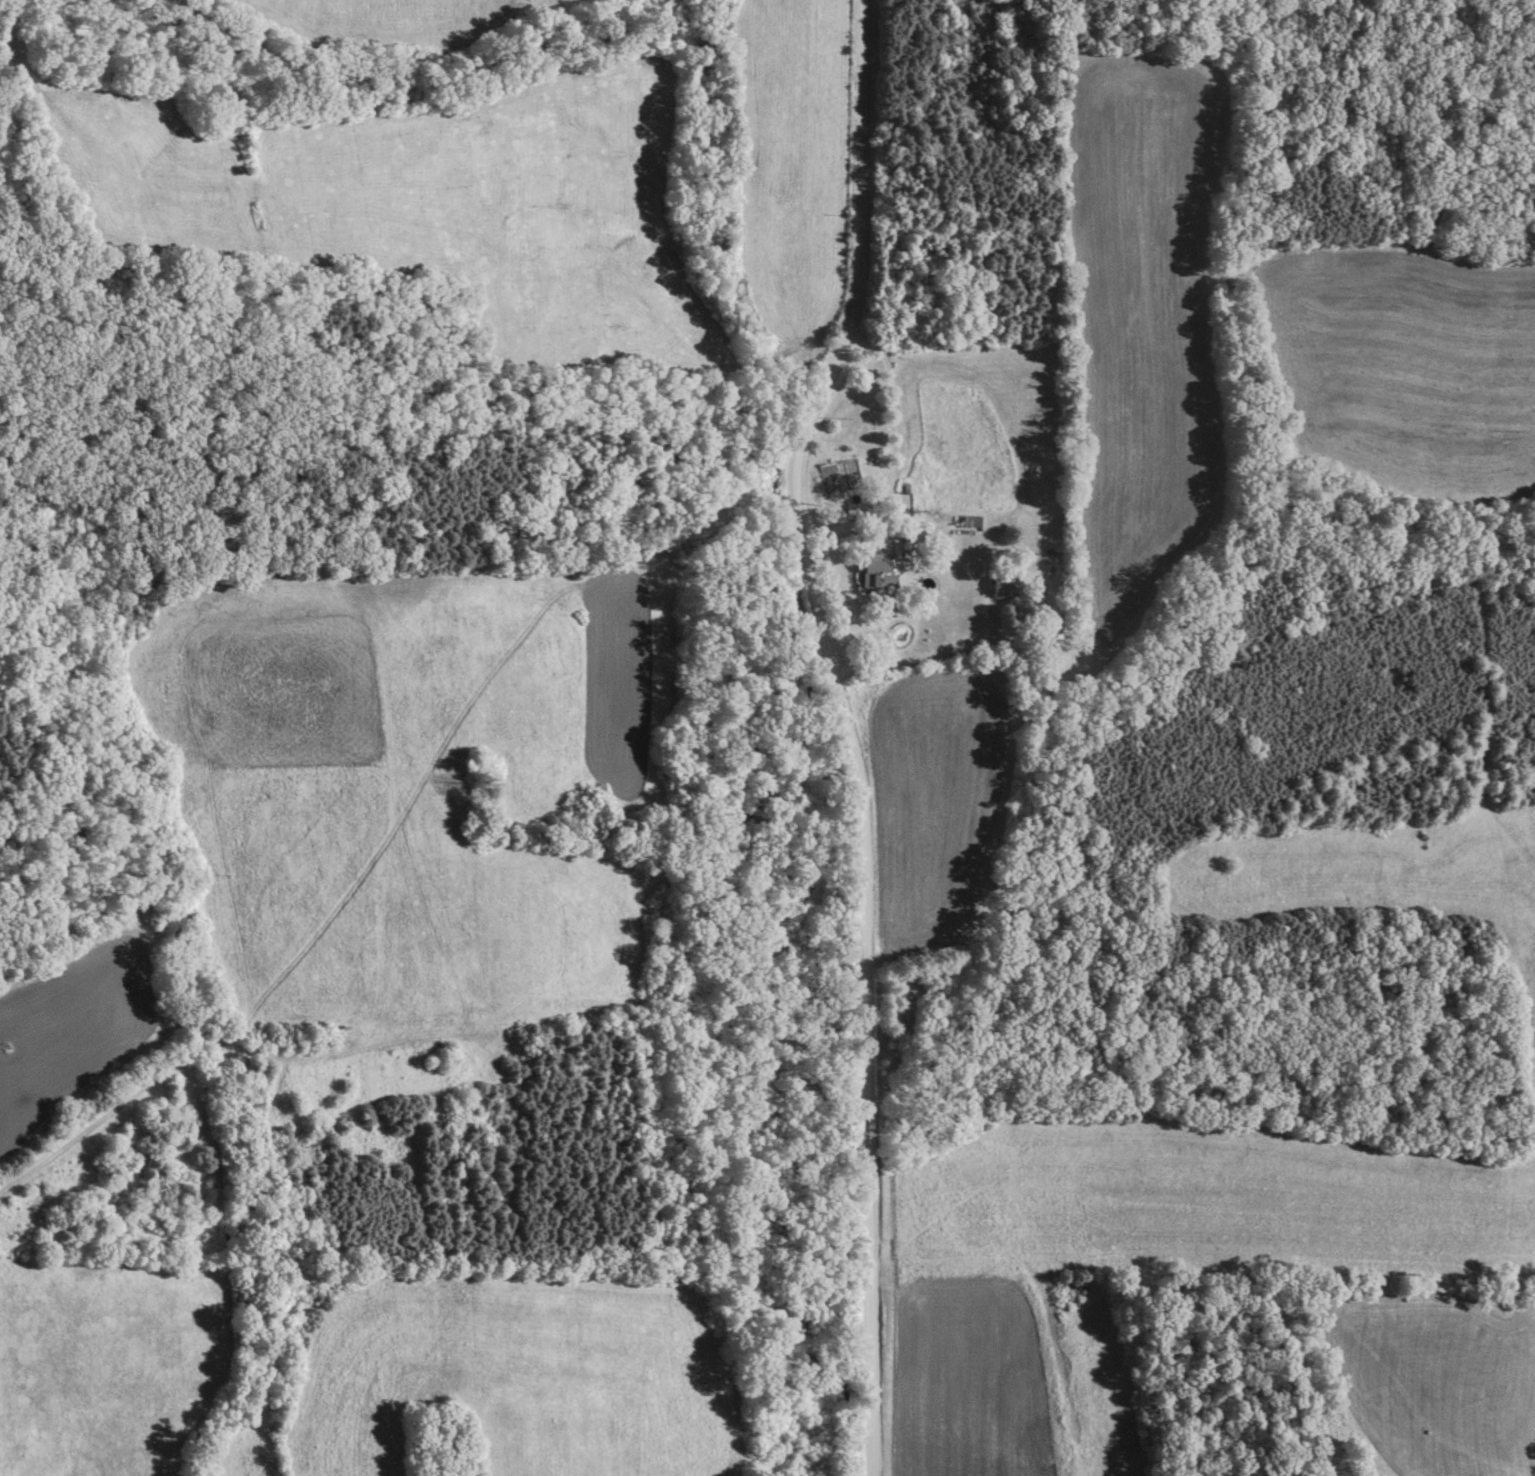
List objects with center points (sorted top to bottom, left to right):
road: (897, 454)
building: (970, 524)
building: (870, 571)
road: (844, 729)

